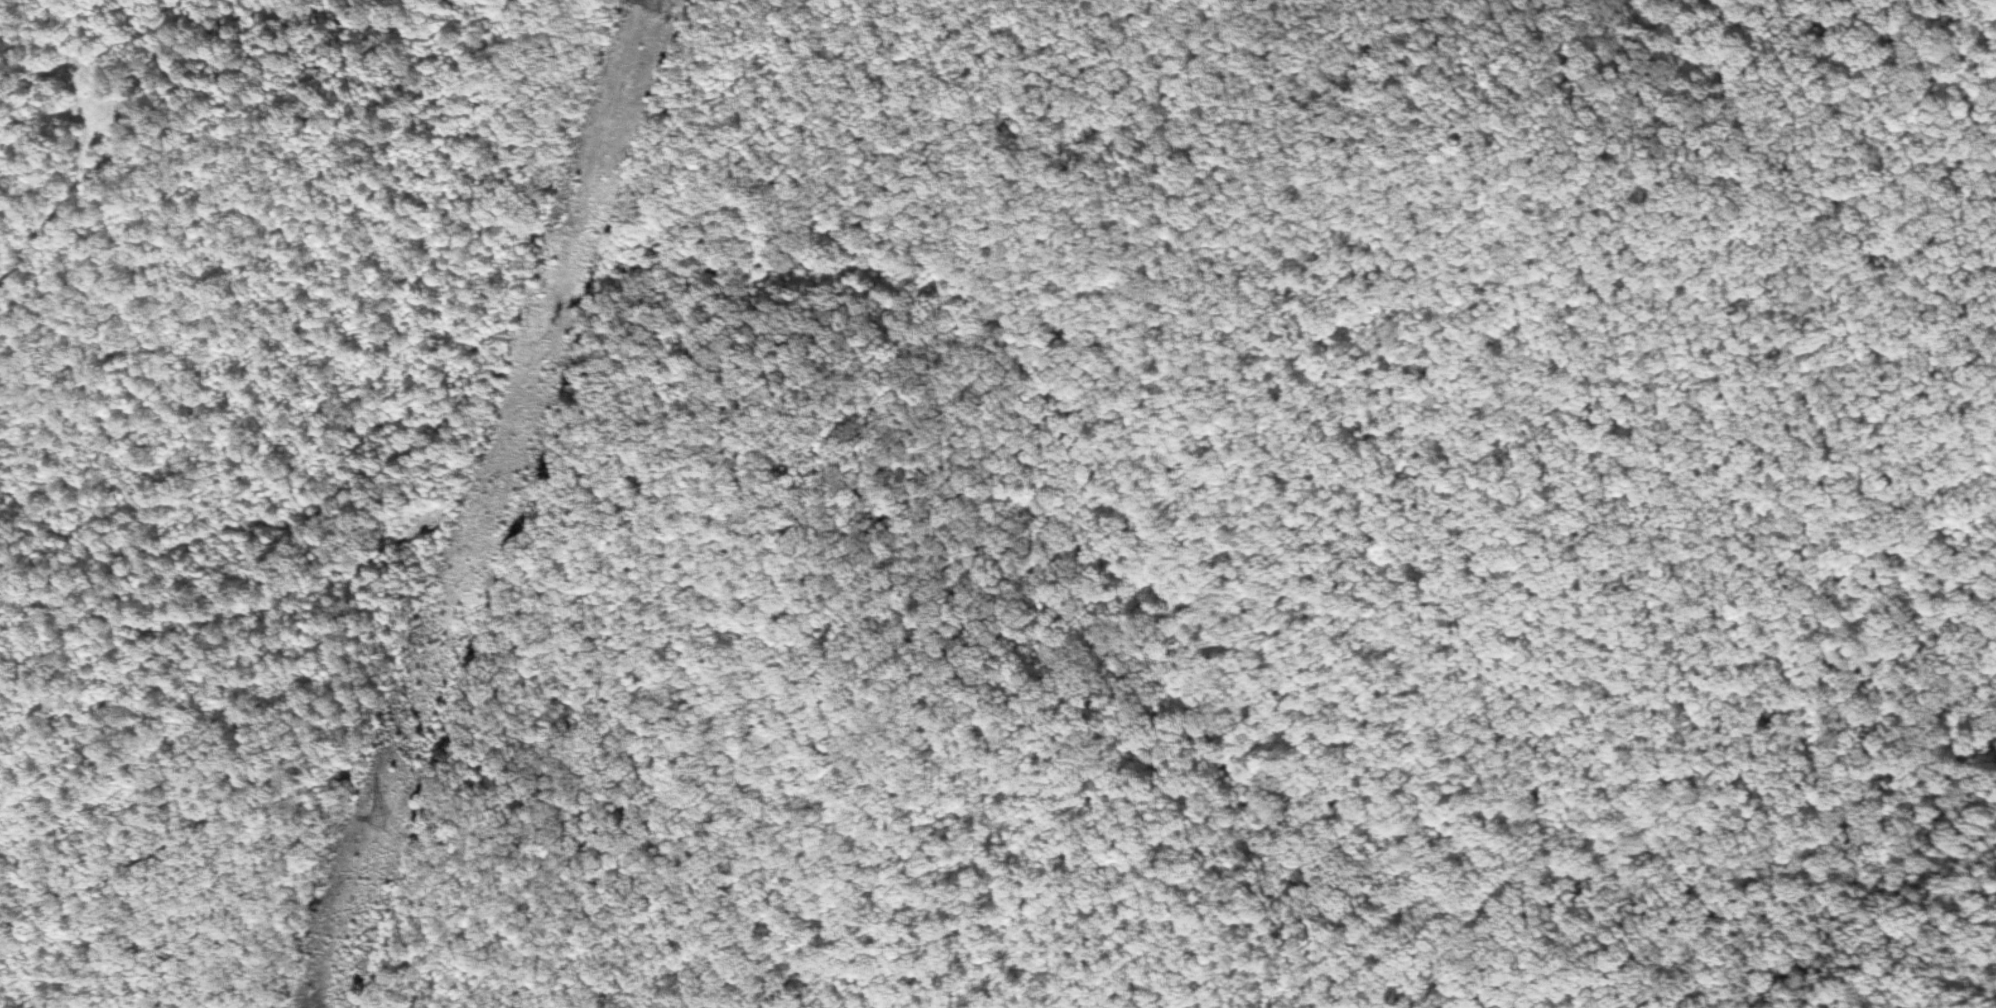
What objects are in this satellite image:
power tower: (654, 1)
road: (99, 144)
road: (364, 438)

